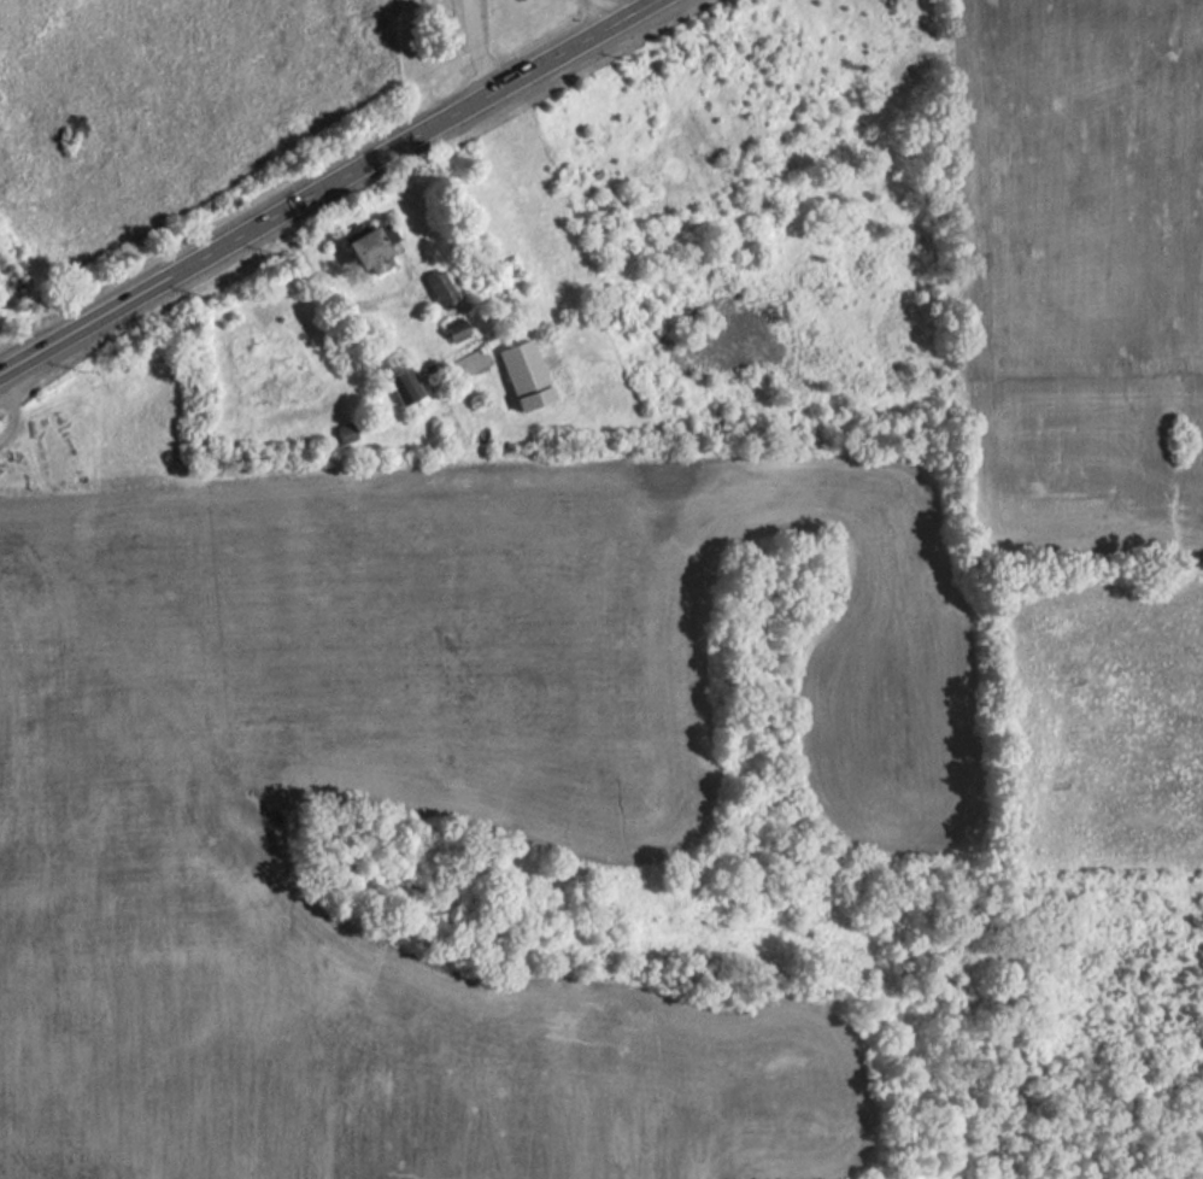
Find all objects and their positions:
road: (600, 7)
road: (487, 40)
crop: (157, 93)
road: (316, 180)
building: (370, 246)
crop: (1084, 276)
building: (439, 286)
building: (456, 328)
building: (470, 360)
building: (524, 375)
building: (403, 385)
road: (7, 398)
building: (344, 432)
crop: (415, 797)
road: (696, 1092)

